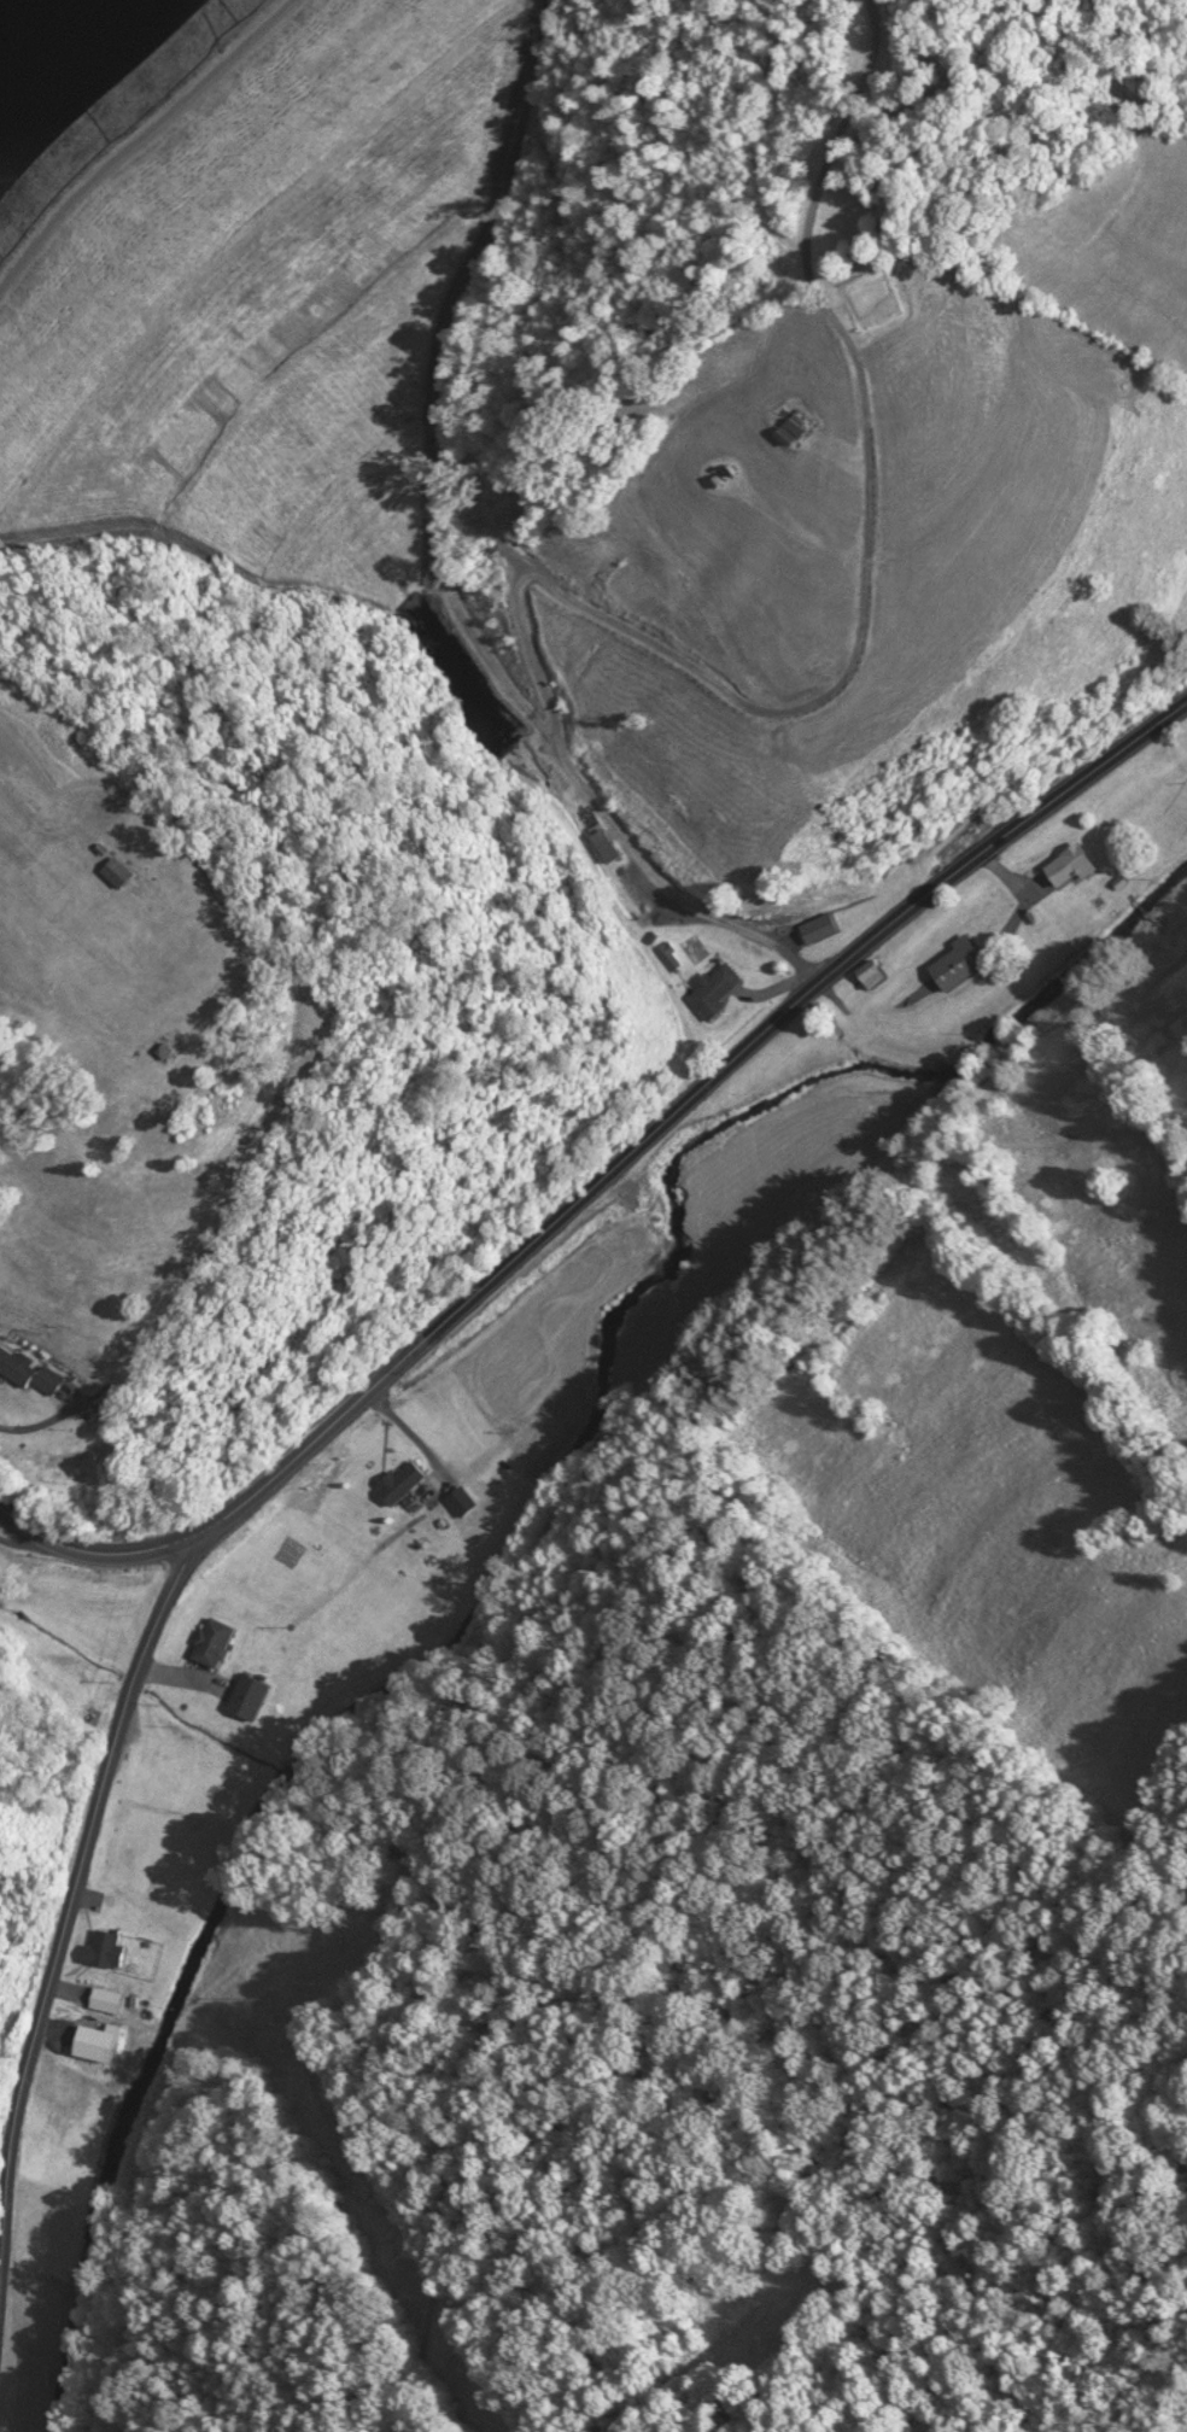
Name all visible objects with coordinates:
road: (159, 166)
building: (800, 421)
road: (435, 565)
building: (1076, 864)
building: (119, 871)
building: (821, 925)
building: (959, 960)
building: (876, 971)
building: (717, 988)
road: (601, 1174)
building: (29, 1368)
road: (40, 1422)
road: (18, 1534)
building: (214, 1638)
building: (252, 1693)
road: (65, 1922)
building: (109, 1947)
building: (99, 1995)

